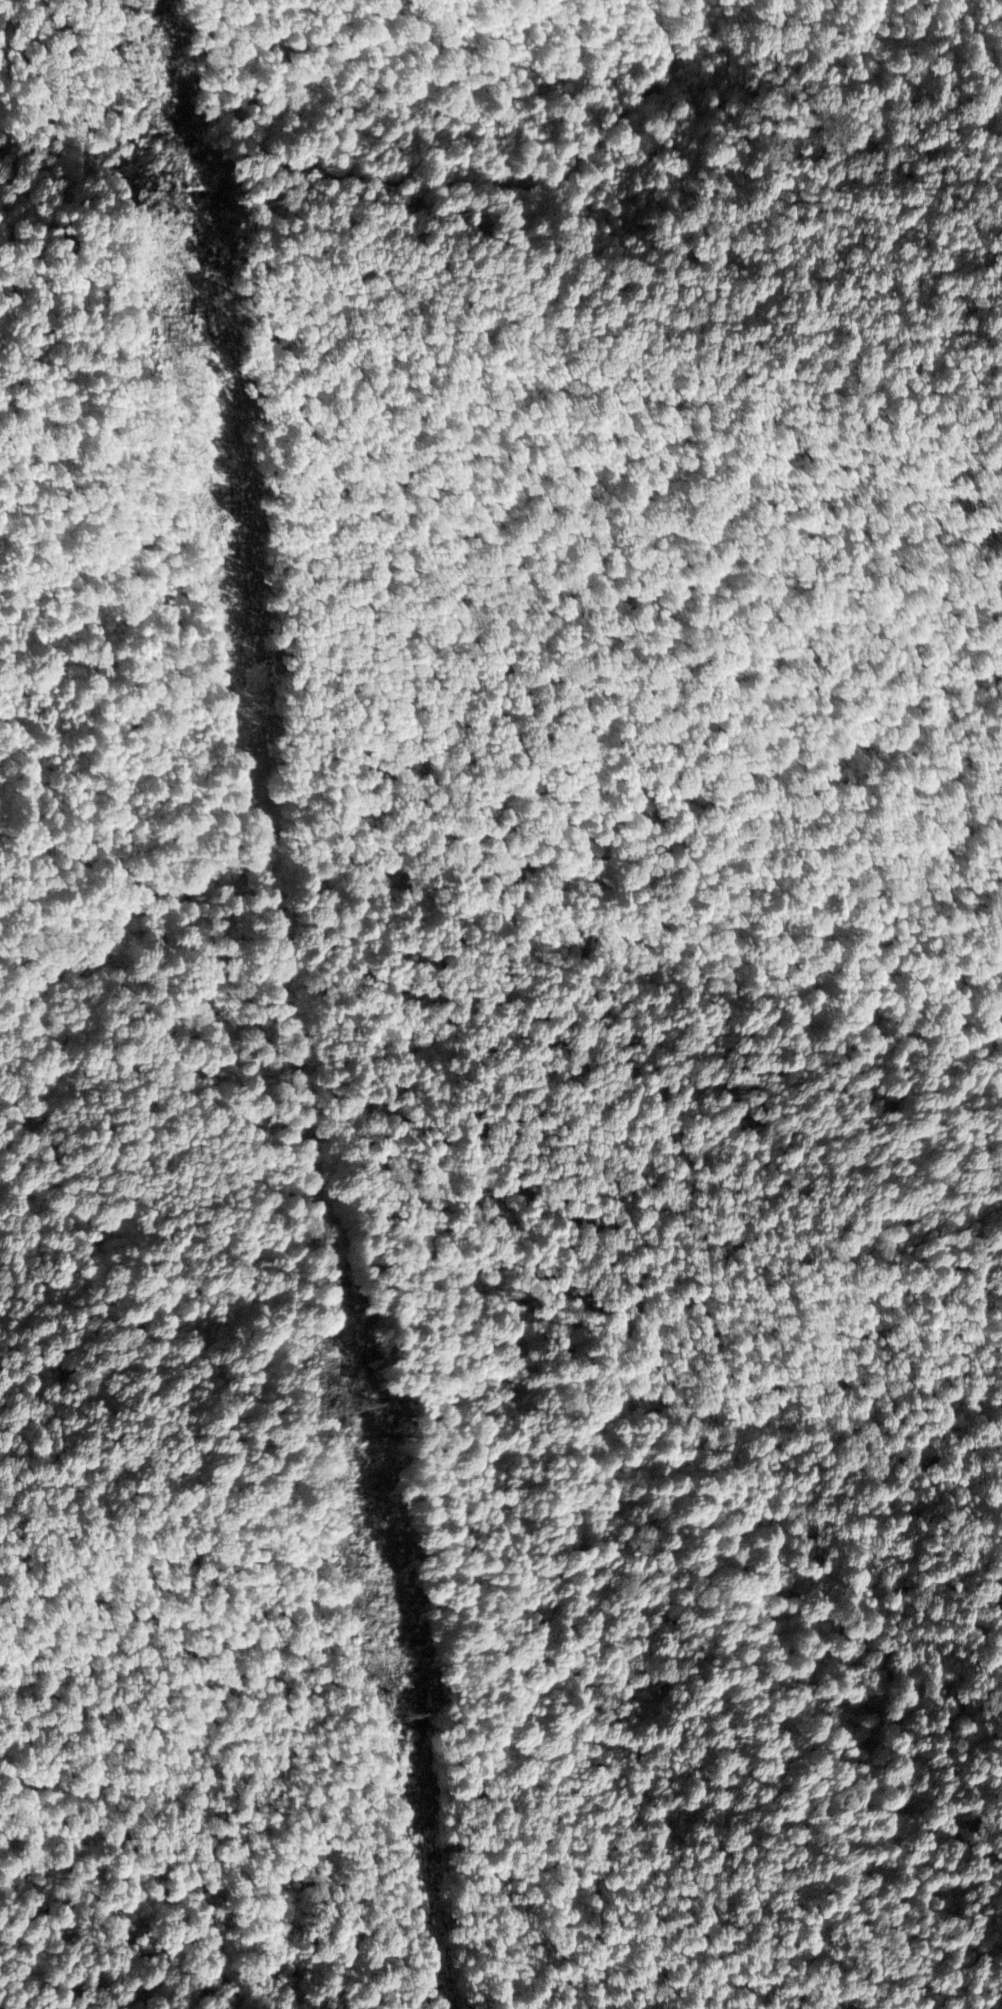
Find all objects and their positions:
power tower: (182, 342)
power tower: (350, 1404)
power tower: (398, 1713)

